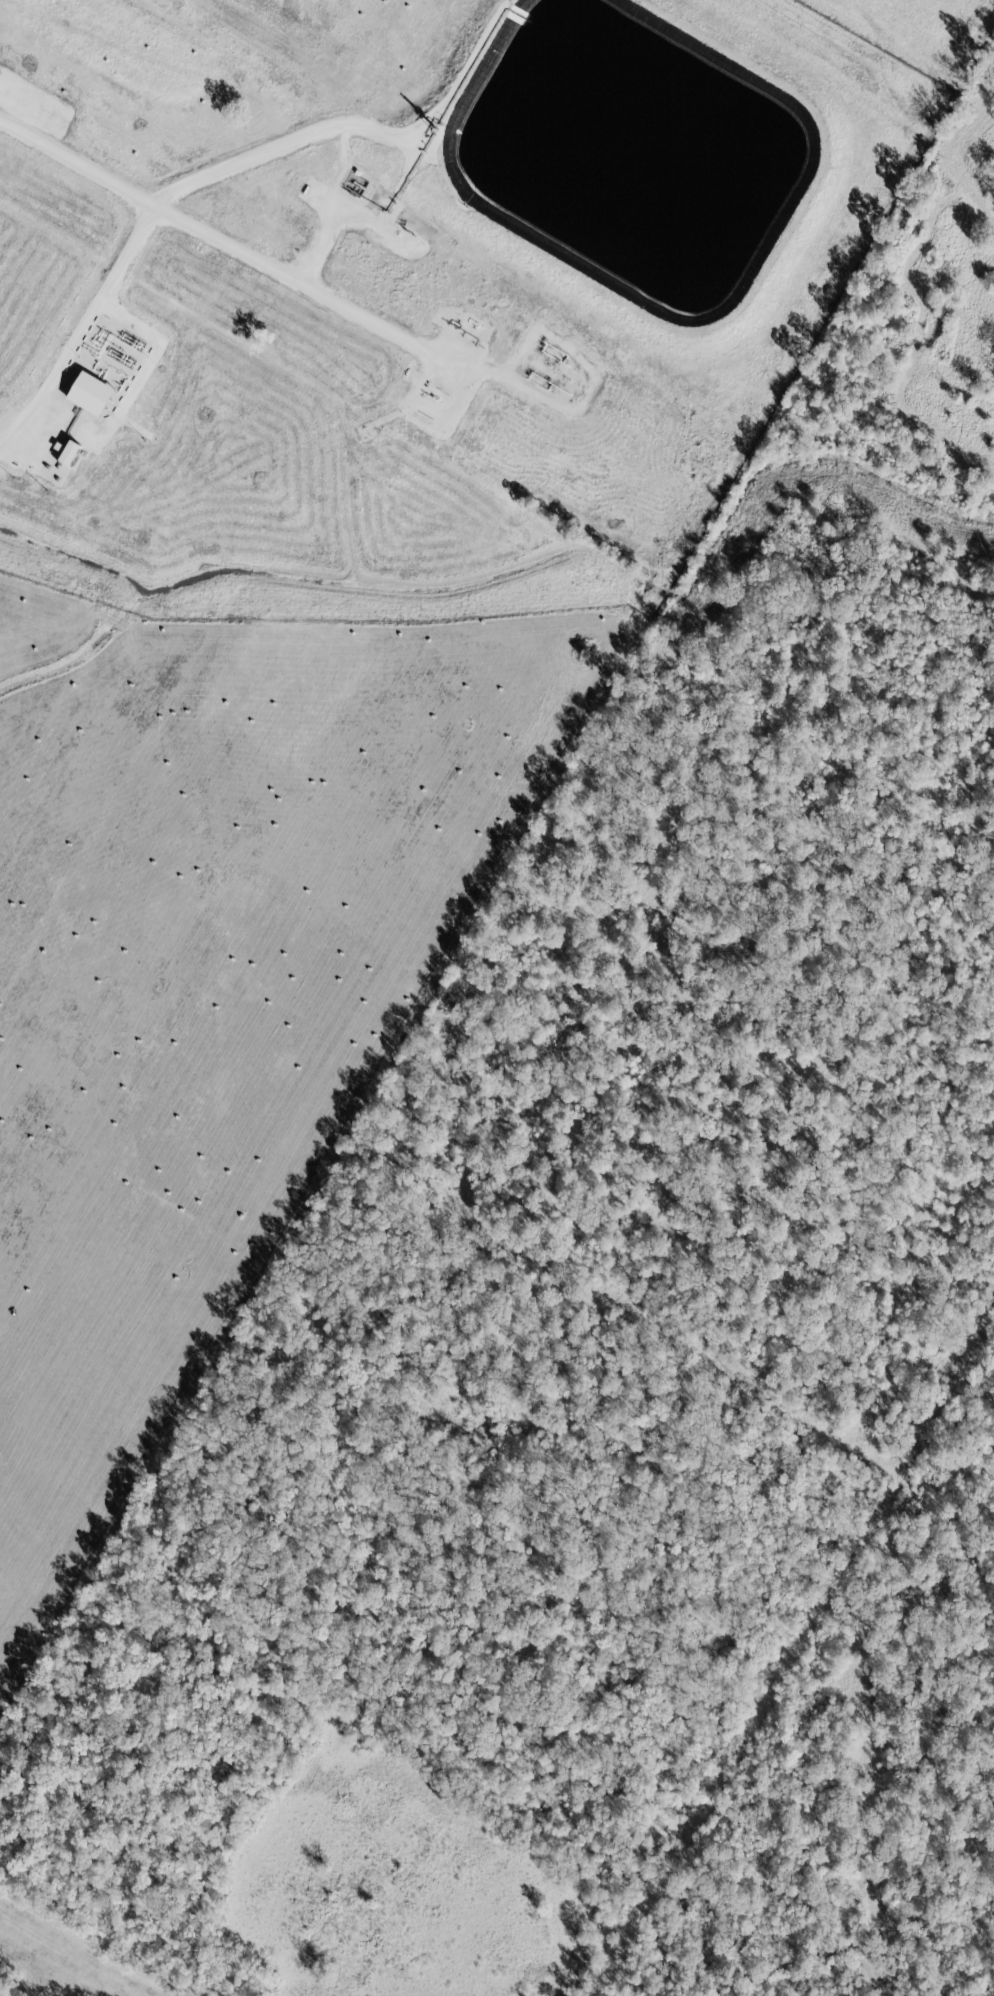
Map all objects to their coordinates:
building: (103, 364)
building: (65, 452)

